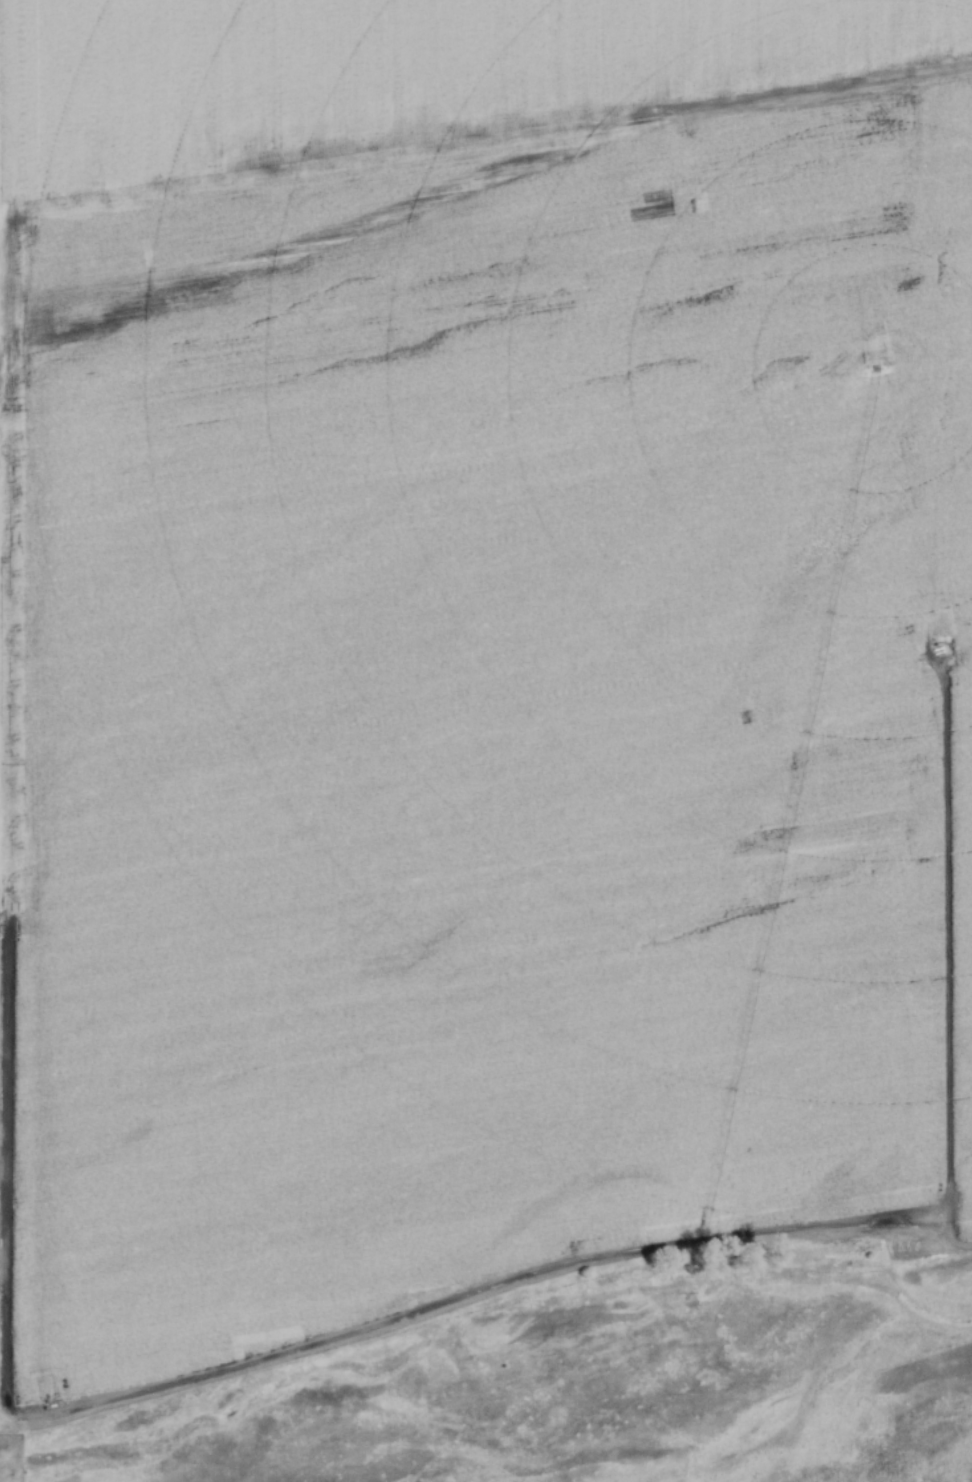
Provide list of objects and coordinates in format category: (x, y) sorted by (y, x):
road: (961, 1235)

